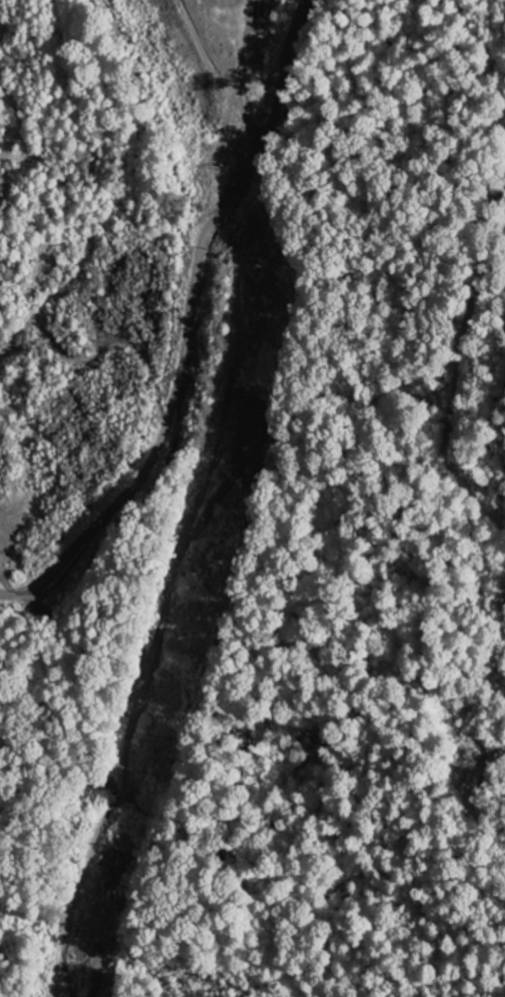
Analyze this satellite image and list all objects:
power tower: (223, 167)
road: (188, 324)

